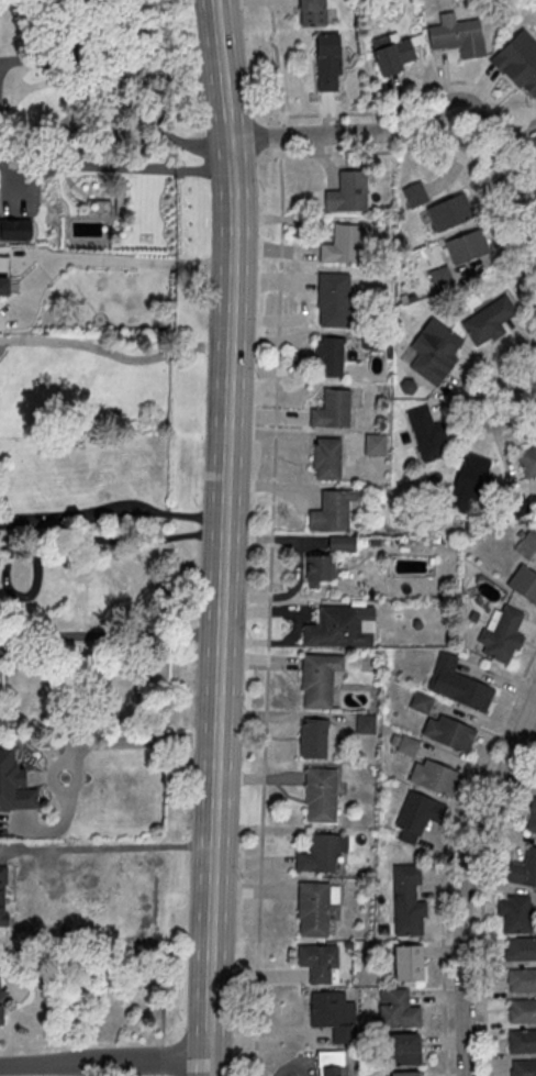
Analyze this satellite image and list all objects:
building: (312, 12)
building: (457, 35)
building: (393, 56)
road: (35, 59)
building: (327, 62)
building: (518, 62)
road: (221, 69)
road: (34, 85)
road: (443, 87)
road: (146, 122)
road: (413, 132)
building: (534, 143)
road: (454, 157)
road: (129, 167)
building: (347, 192)
building: (449, 211)
building: (14, 230)
building: (343, 244)
building: (466, 246)
road: (137, 262)
building: (440, 276)
building: (3, 286)
building: (334, 299)
building: (490, 321)
building: (433, 352)
road: (114, 354)
building: (328, 356)
road: (513, 393)
road: (457, 402)
building: (333, 410)
building: (426, 435)
building: (375, 444)
building: (326, 458)
building: (527, 462)
building: (467, 484)
building: (334, 510)
road: (271, 534)
road: (111, 539)
building: (532, 539)
building: (343, 543)
building: (319, 569)
building: (524, 584)
road: (220, 599)
building: (340, 626)
road: (110, 635)
building: (501, 635)
building: (320, 679)
building: (459, 684)
building: (420, 702)
building: (366, 723)
building: (448, 733)
building: (314, 737)
road: (130, 739)
building: (403, 745)
building: (433, 777)
building: (14, 785)
building: (321, 795)
building: (417, 814)
building: (531, 818)
building: (320, 854)
road: (450, 856)
building: (524, 869)
road: (465, 880)
building: (2, 895)
building: (406, 900)
road: (482, 908)
building: (313, 909)
building: (514, 913)
building: (521, 949)
building: (319, 962)
building: (407, 963)
building: (522, 980)
building: (3, 1003)
building: (398, 1009)
building: (522, 1010)
building: (333, 1014)
building: (523, 1041)
road: (161, 1045)
building: (407, 1049)
road: (103, 1062)
building: (331, 1063)
building: (524, 1067)
road: (206, 1068)
building: (405, 1073)

